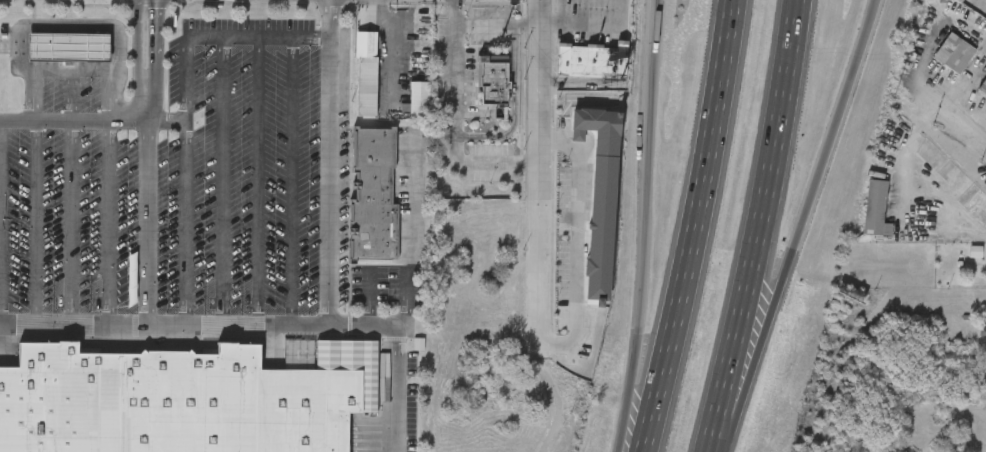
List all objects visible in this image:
road: (68, 24)
road: (497, 26)
road: (551, 26)
road: (592, 26)
road: (198, 38)
road: (391, 44)
building: (70, 45)
gas station: (70, 45)
building: (954, 53)
building: (589, 61)
road: (74, 69)
building: (366, 70)
building: (492, 81)
building: (983, 87)
road: (71, 95)
building: (420, 99)
road: (513, 106)
road: (148, 109)
road: (953, 115)
road: (455, 119)
road: (74, 122)
road: (327, 164)
road: (821, 167)
road: (223, 183)
road: (256, 183)
road: (291, 183)
building: (374, 193)
building: (598, 197)
road: (539, 204)
building: (875, 207)
road: (762, 209)
road: (148, 220)
road: (1, 222)
road: (35, 222)
road: (71, 223)
road: (108, 223)
road: (184, 226)
road: (646, 226)
road: (682, 227)
road: (408, 238)
road: (577, 245)
building: (975, 253)
building: (133, 279)
building: (364, 283)
road: (73, 324)
road: (334, 328)
building: (982, 332)
road: (740, 375)
building: (980, 376)
building: (186, 398)
road: (557, 424)
road: (713, 434)

